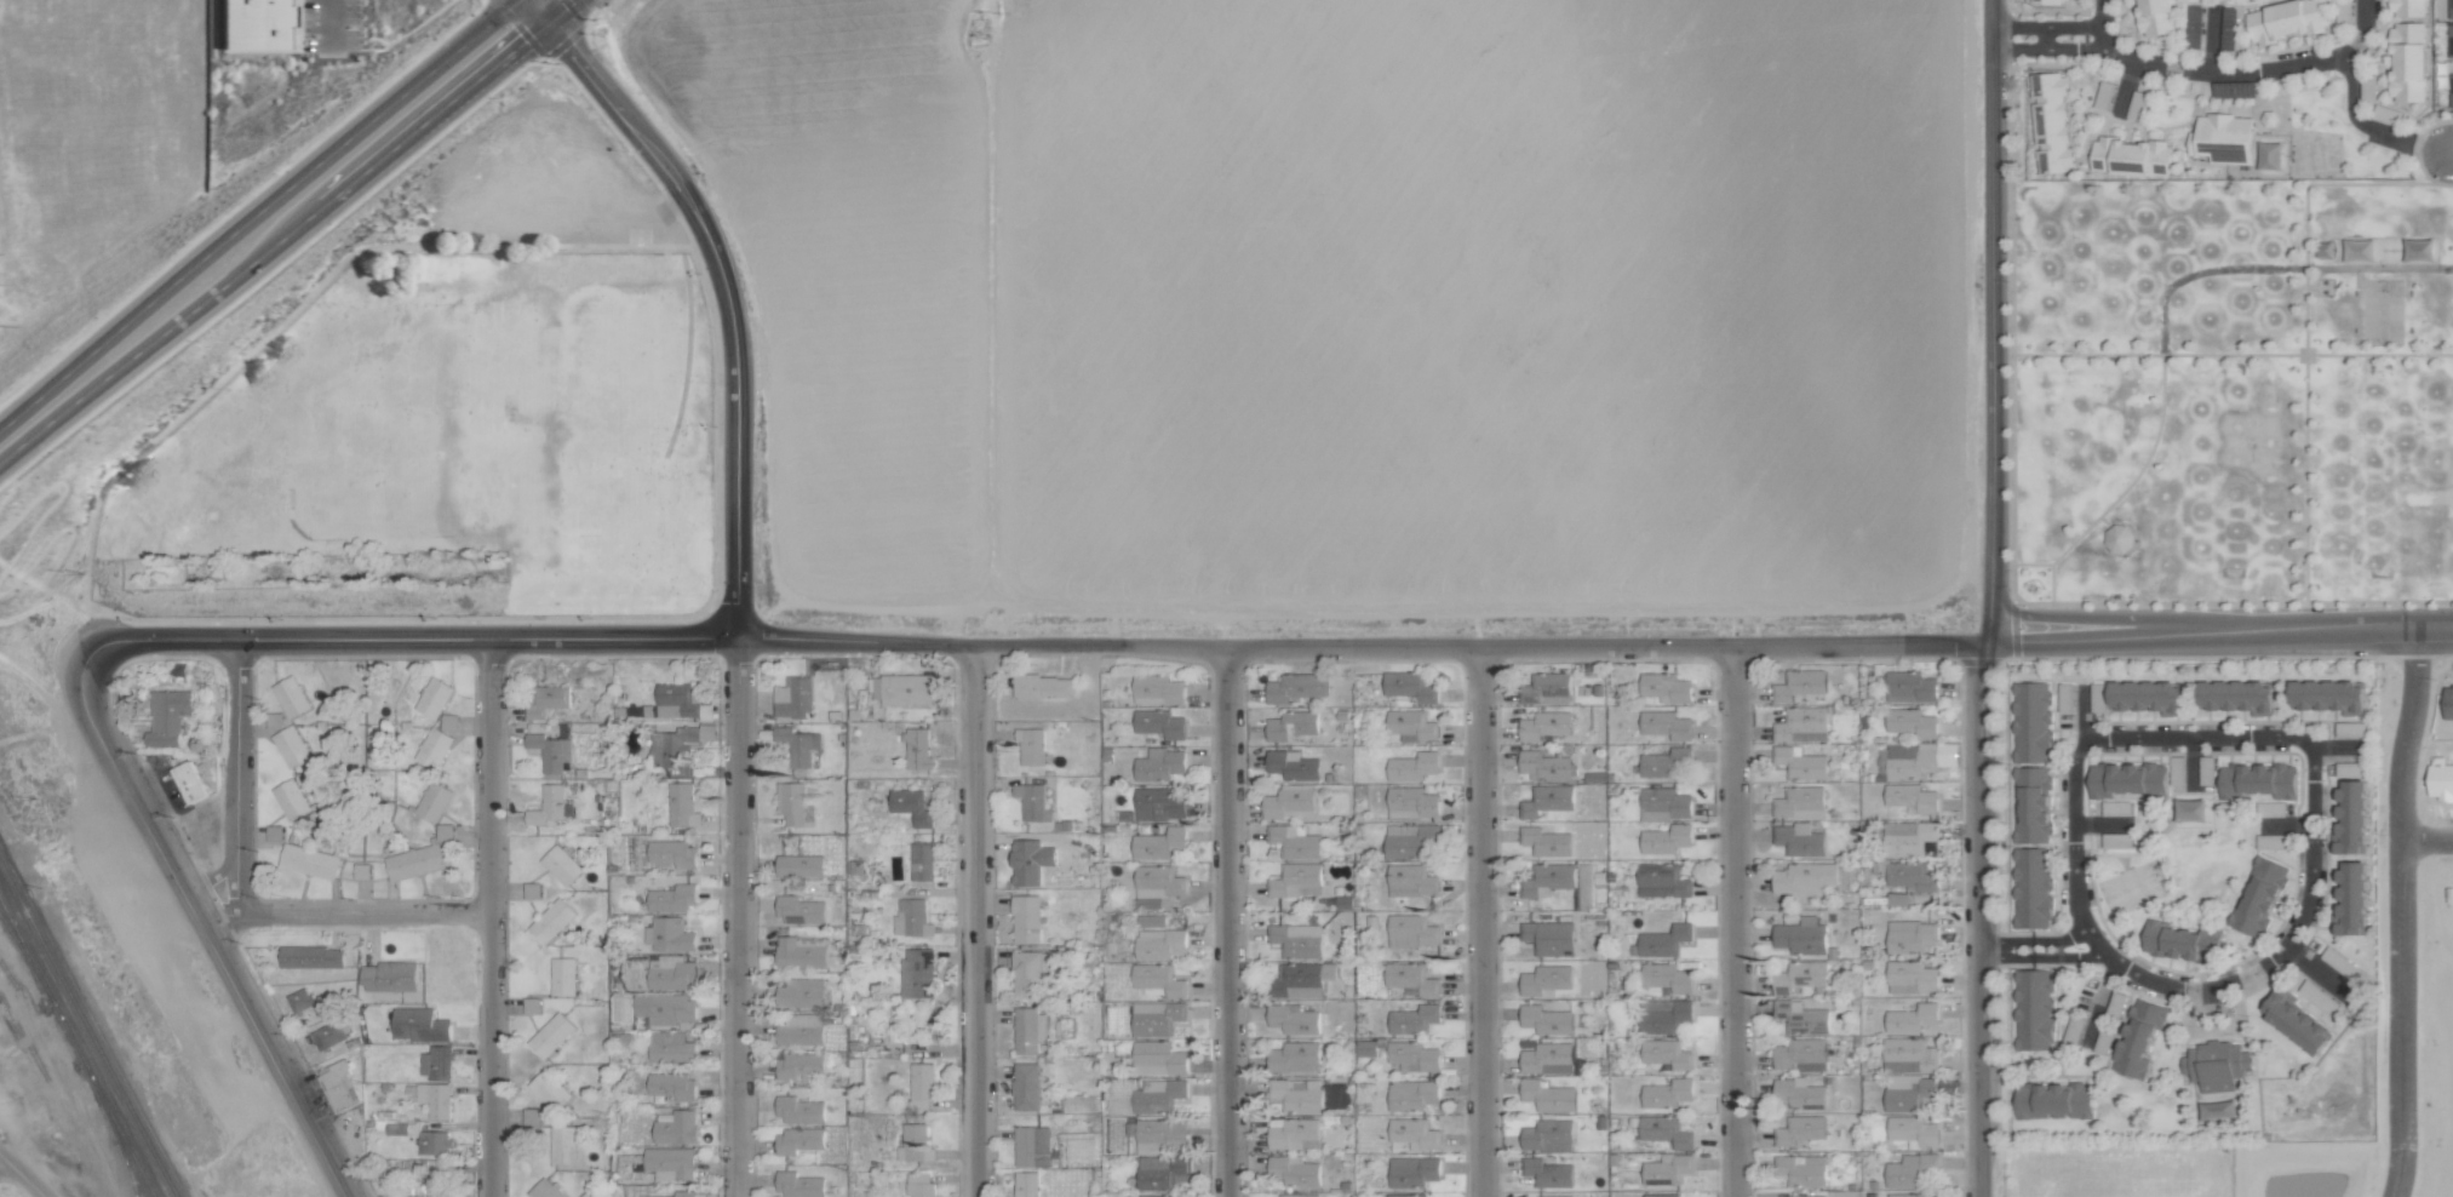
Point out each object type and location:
building: (2048, 1)
building: (2407, 7)
road: (538, 8)
road: (557, 8)
building: (2449, 8)
building: (2153, 16)
building: (2285, 19)
road: (327, 22)
building: (250, 24)
road: (2045, 28)
road: (2212, 40)
road: (2046, 50)
building: (2407, 61)
road: (2229, 73)
road: (2125, 85)
building: (2451, 87)
road: (431, 113)
building: (2048, 121)
road: (2367, 127)
building: (2222, 137)
road: (2449, 151)
building: (2130, 156)
road: (254, 212)
road: (728, 297)
road: (1991, 321)
road: (157, 333)
road: (10, 481)
road: (61, 496)
building: (2116, 538)
road: (59, 563)
road: (2219, 630)
road: (411, 638)
road: (981, 645)
road: (1606, 647)
road: (626, 654)
road: (248, 669)
building: (1799, 685)
building: (1042, 686)
building: (1409, 686)
building: (1908, 686)
building: (1294, 687)
building: (1664, 687)
building: (901, 688)
building: (1544, 688)
building: (1157, 689)
building: (2235, 695)
building: (2327, 695)
building: (288, 697)
building: (431, 697)
building: (2145, 697)
building: (791, 698)
building: (543, 699)
building: (671, 701)
building: (2447, 701)
building: (165, 716)
building: (447, 722)
building: (1910, 722)
building: (1158, 723)
building: (1289, 724)
building: (1410, 724)
building: (1543, 724)
building: (1664, 724)
building: (1800, 724)
road: (93, 731)
road: (2304, 743)
building: (670, 745)
building: (795, 745)
building: (287, 746)
building: (1030, 746)
building: (431, 749)
building: (916, 749)
building: (548, 751)
building: (1918, 758)
road: (2382, 761)
building: (1663, 762)
building: (1799, 763)
building: (1158, 764)
building: (1289, 766)
building: (1411, 766)
building: (1543, 766)
building: (2349, 769)
road: (235, 775)
building: (2125, 779)
building: (188, 780)
building: (2256, 780)
building: (1910, 798)
building: (1546, 800)
building: (288, 801)
building: (1031, 802)
building: (1288, 802)
building: (1410, 802)
building: (431, 803)
building: (1157, 803)
building: (1663, 803)
building: (1799, 803)
building: (546, 804)
building: (792, 804)
building: (681, 806)
building: (910, 806)
building: (2030, 806)
building: (2350, 818)
building: (442, 831)
building: (273, 834)
building: (1905, 837)
building: (1664, 838)
building: (1408, 840)
building: (1798, 840)
building: (1293, 841)
building: (1544, 841)
building: (2270, 841)
building: (1157, 843)
building: (654, 853)
building: (308, 861)
building: (413, 861)
building: (921, 861)
building: (1028, 861)
building: (560, 865)
building: (797, 865)
building: (854, 866)
building: (360, 870)
road: (214, 874)
building: (1907, 876)
building: (1804, 877)
building: (1547, 878)
building: (1295, 880)
building: (1410, 880)
building: (1661, 881)
building: (2258, 895)
building: (671, 898)
building: (1896, 899)
building: (2350, 899)
building: (797, 910)
road: (344, 915)
road: (737, 916)
road: (487, 917)
building: (910, 918)
building: (1025, 918)
road: (1979, 918)
building: (550, 921)
road: (973, 921)
building: (1152, 921)
road: (1228, 922)
road: (1478, 922)
road: (1735, 922)
building: (1410, 930)
building: (670, 934)
building: (1800, 935)
building: (1909, 935)
building: (1549, 937)
building: (1295, 940)
building: (1663, 940)
building: (2179, 941)
building: (1158, 944)
road: (2090, 946)
road: (1990, 949)
road: (2001, 949)
railway: (27, 952)
building: (799, 952)
building: (309, 956)
railway: (27, 958)
building: (670, 973)
building: (916, 973)
building: (1027, 973)
building: (561, 975)
building: (1799, 975)
building: (386, 976)
building: (1910, 976)
building: (1410, 978)
building: (1589, 978)
building: (1666, 978)
building: (1157, 979)
building: (1544, 979)
building: (1295, 980)
building: (1369, 980)
building: (801, 992)
road: (237, 993)
building: (304, 1001)
building: (664, 1009)
building: (2031, 1009)
road: (2383, 1013)
building: (1662, 1015)
road: (503, 1016)
building: (1800, 1016)
building: (1156, 1018)
building: (1910, 1018)
building: (1291, 1019)
building: (1411, 1019)
building: (1544, 1019)
building: (2293, 1021)
building: (418, 1025)
railway: (88, 1030)
building: (799, 1030)
building: (1027, 1030)
building: (328, 1033)
building: (550, 1035)
building: (2137, 1038)
building: (667, 1046)
building: (1369, 1047)
building: (1666, 1053)
building: (1798, 1053)
building: (1412, 1055)
building: (1908, 1055)
building: (1293, 1056)
building: (1157, 1058)
building: (1546, 1058)
building: (434, 1063)
building: (2214, 1064)
building: (798, 1065)
building: (921, 1081)
building: (338, 1084)
building: (671, 1086)
building: (1025, 1087)
building: (548, 1090)
building: (1905, 1092)
building: (1666, 1093)
building: (1799, 1093)
building: (1296, 1094)
building: (1411, 1094)
building: (1157, 1095)
building: (1546, 1095)
building: (430, 1098)
railway: (103, 1100)
building: (2052, 1100)
building: (797, 1110)
building: (396, 1128)
building: (675, 1128)
railway: (113, 1129)
building: (1799, 1129)
building: (1663, 1130)
building: (1913, 1130)
building: (1291, 1133)
building: (1414, 1133)
building: (1547, 1134)
building: (797, 1140)
building: (432, 1142)
building: (913, 1142)
building: (561, 1145)
building: (1031, 1146)
building: (669, 1162)
building: (1666, 1169)
building: (1800, 1169)
building: (1909, 1169)
building: (1293, 1170)
building: (1160, 1172)
building: (1411, 1172)
building: (1546, 1173)
road: (23, 1175)
building: (431, 1175)
building: (918, 1184)
building: (1025, 1184)
building: (797, 1185)
building: (543, 1190)
building: (1156, 1195)
building: (1405, 1195)
building: (1658, 1195)
building: (1904, 1195)
building: (1553, 1196)
building: (1804, 1196)

